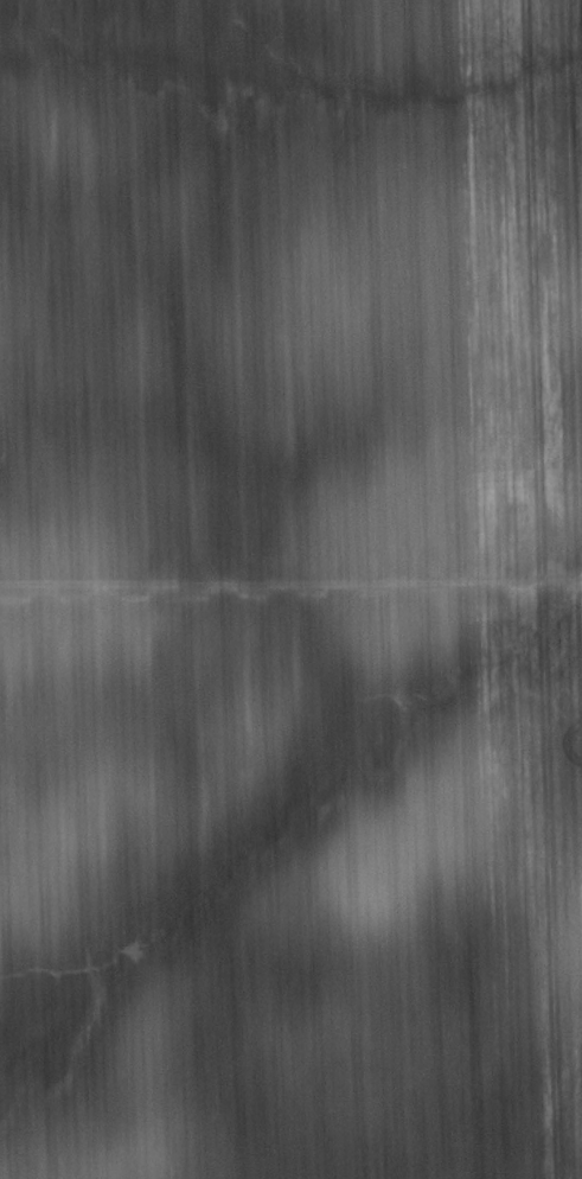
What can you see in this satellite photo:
crop: (290, 589)

